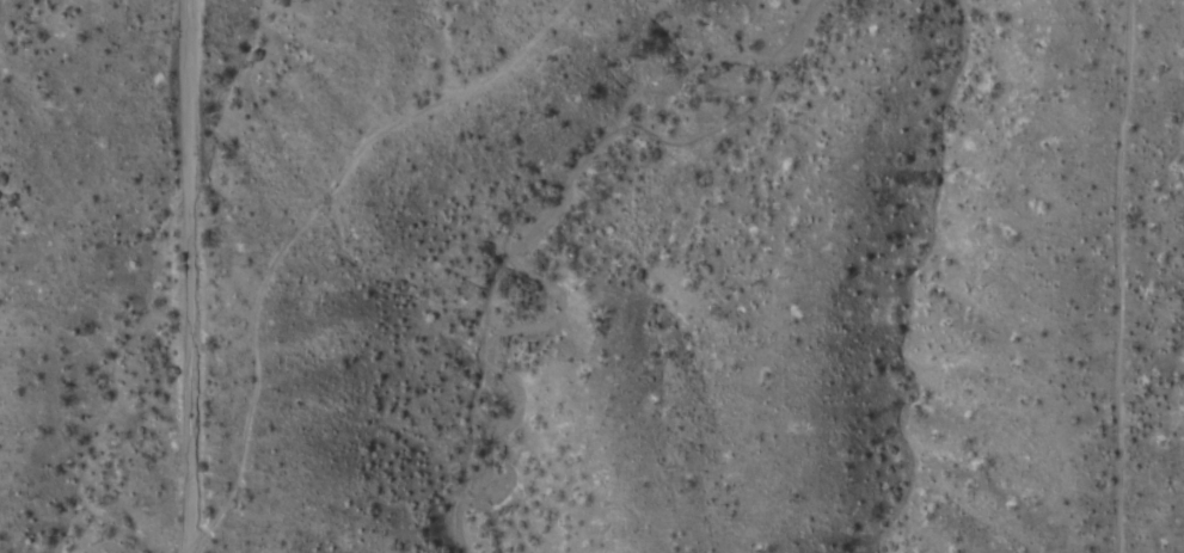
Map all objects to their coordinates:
road: (192, 277)

